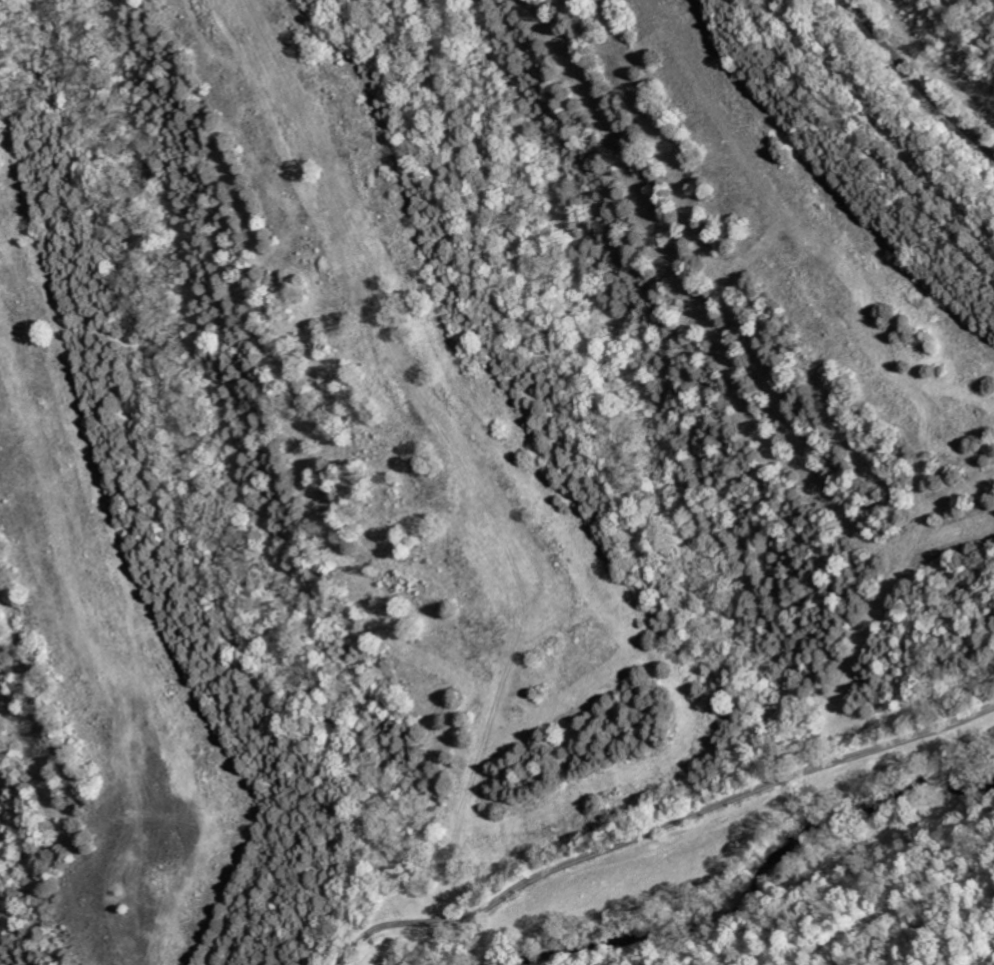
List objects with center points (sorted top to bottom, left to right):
road: (945, 73)
road: (916, 85)
road: (672, 809)

